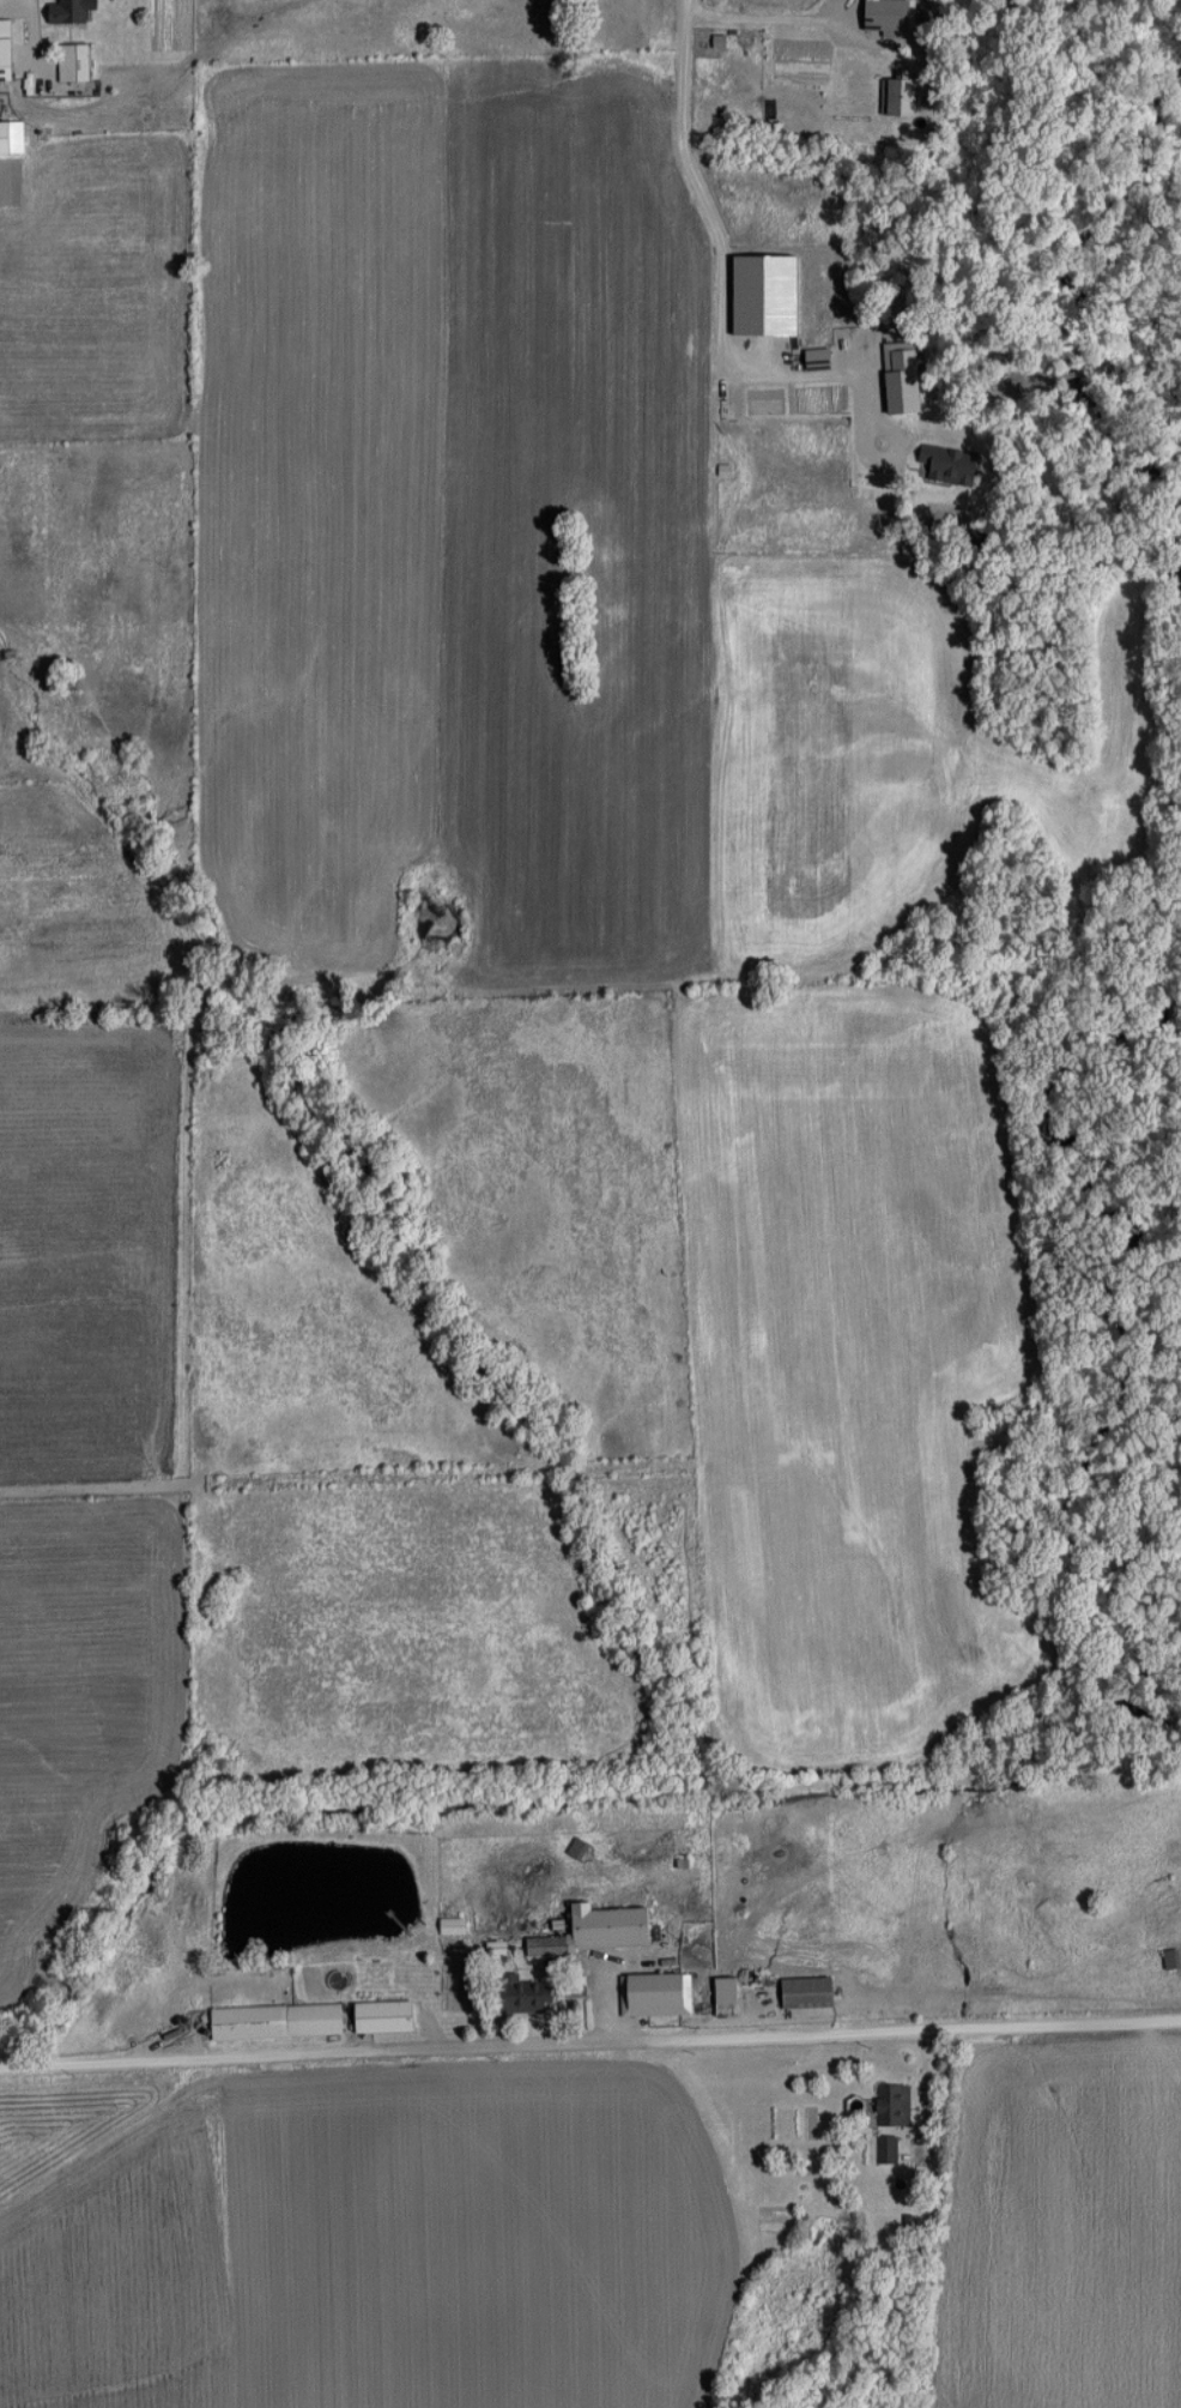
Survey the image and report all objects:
building: (62, 11)
building: (2, 43)
building: (68, 62)
road: (725, 248)
building: (585, 1829)
building: (594, 1930)
building: (1167, 1959)
building: (798, 1991)
building: (515, 1993)
building: (649, 1996)
building: (720, 1997)
building: (377, 2016)
building: (269, 2021)
road: (589, 2040)
building: (889, 2104)
building: (885, 2148)

